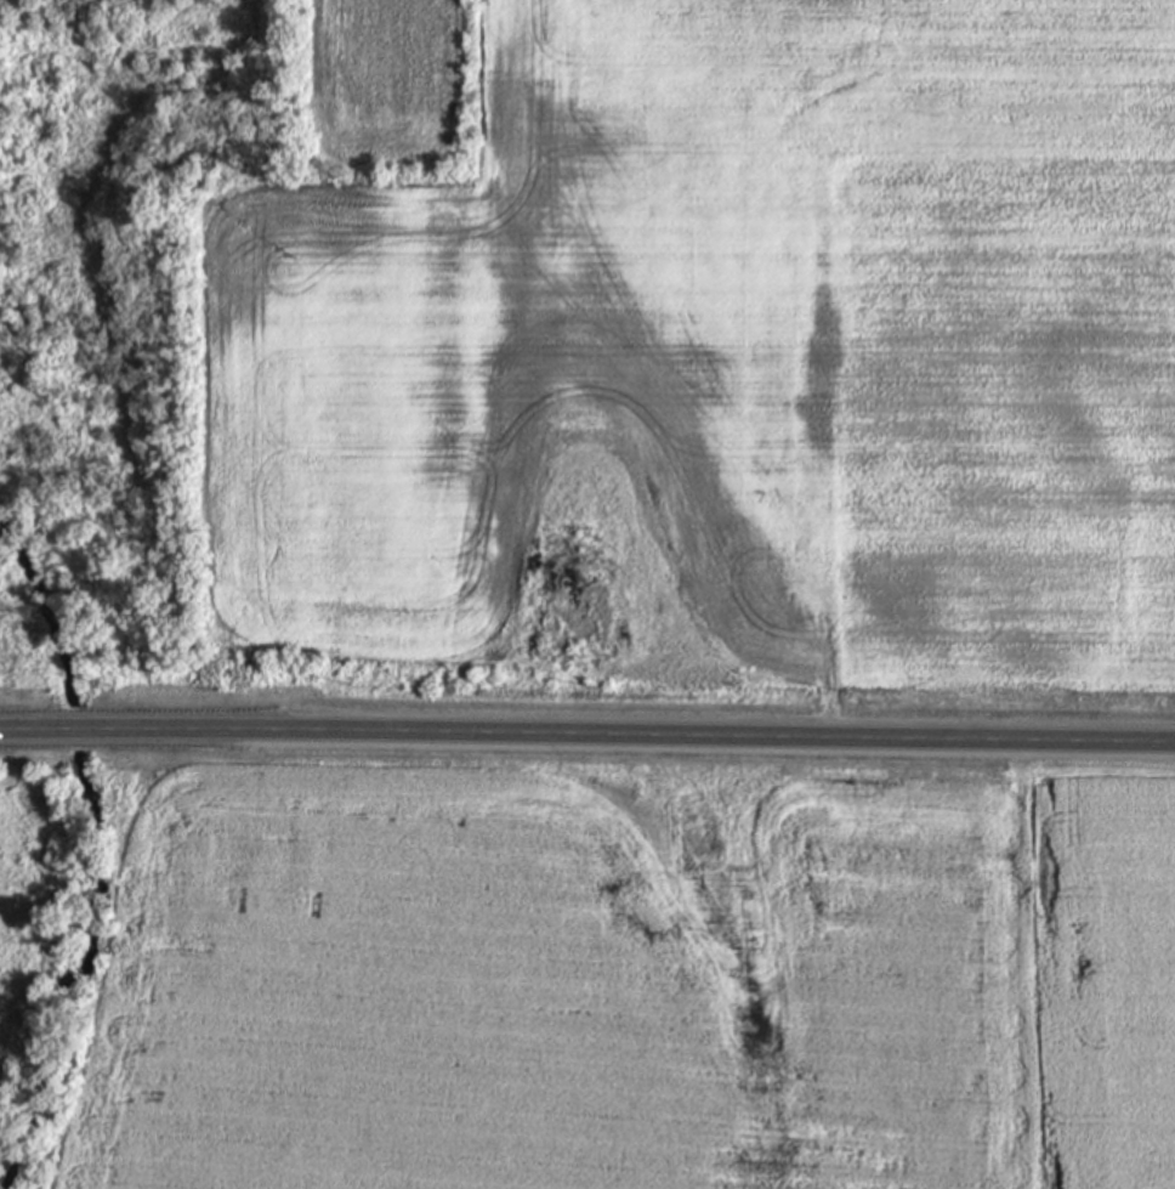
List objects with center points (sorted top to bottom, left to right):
road: (587, 732)

